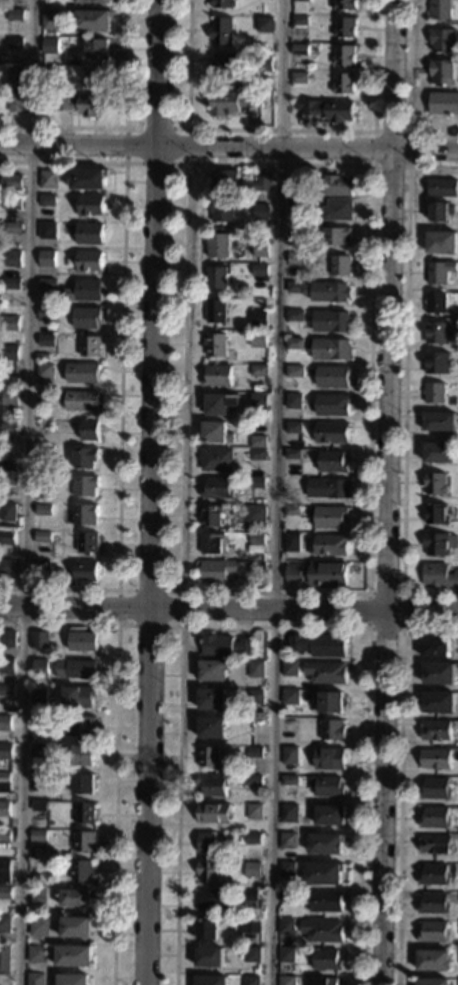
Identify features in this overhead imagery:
building: (300, 0)
building: (91, 2)
building: (223, 3)
building: (343, 4)
building: (441, 9)
building: (15, 15)
building: (50, 19)
building: (299, 20)
building: (92, 21)
building: (264, 24)
building: (344, 27)
building: (219, 31)
building: (443, 40)
building: (14, 43)
building: (49, 46)
building: (96, 50)
building: (299, 50)
building: (344, 55)
building: (263, 63)
building: (225, 65)
building: (50, 72)
building: (443, 72)
building: (14, 74)
building: (93, 78)
building: (299, 78)
building: (343, 83)
road: (409, 89)
building: (231, 102)
building: (14, 103)
building: (444, 103)
building: (82, 104)
building: (330, 110)
road: (124, 125)
road: (281, 128)
road: (229, 148)
road: (185, 163)
road: (408, 165)
building: (86, 179)
building: (48, 180)
building: (238, 182)
building: (292, 183)
building: (337, 185)
building: (13, 187)
building: (442, 187)
building: (46, 200)
building: (11, 203)
building: (90, 206)
building: (295, 207)
building: (222, 209)
building: (338, 209)
building: (441, 211)
building: (261, 212)
building: (10, 228)
building: (46, 231)
building: (297, 233)
building: (89, 234)
building: (337, 236)
building: (442, 242)
building: (218, 245)
building: (261, 249)
building: (12, 258)
building: (46, 259)
building: (295, 259)
building: (89, 261)
building: (341, 265)
building: (260, 270)
building: (441, 271)
building: (218, 277)
building: (11, 283)
building: (46, 284)
building: (322, 290)
building: (84, 291)
building: (437, 303)
building: (217, 312)
building: (46, 313)
building: (295, 315)
building: (87, 317)
building: (260, 317)
building: (331, 321)
building: (11, 323)
building: (439, 332)
building: (259, 337)
building: (46, 341)
building: (295, 343)
building: (215, 344)
building: (91, 346)
building: (330, 349)
building: (11, 353)
building: (42, 357)
building: (438, 362)
building: (259, 370)
building: (295, 370)
building: (44, 371)
building: (83, 373)
road: (121, 373)
building: (218, 376)
building: (333, 376)
road: (405, 381)
building: (11, 382)
building: (435, 392)
building: (44, 397)
building: (9, 398)
building: (82, 401)
building: (259, 401)
building: (294, 401)
building: (221, 403)
building: (332, 404)
building: (440, 422)
building: (9, 423)
building: (293, 427)
building: (90, 430)
building: (217, 433)
building: (333, 433)
building: (258, 442)
building: (292, 453)
building: (440, 453)
building: (258, 454)
building: (43, 455)
building: (86, 457)
building: (217, 459)
building: (333, 461)
building: (8, 467)
building: (9, 480)
building: (258, 482)
building: (435, 483)
building: (86, 486)
building: (217, 488)
building: (329, 488)
road: (25, 492)
road: (152, 492)
road: (275, 492)
road: (386, 492)
building: (43, 510)
building: (292, 510)
building: (8, 512)
building: (86, 514)
building: (256, 514)
building: (436, 514)
building: (212, 516)
building: (330, 517)
building: (43, 537)
building: (8, 538)
building: (55, 538)
building: (88, 543)
building: (257, 543)
building: (291, 543)
building: (439, 543)
building: (212, 544)
building: (329, 545)
building: (41, 564)
building: (7, 566)
building: (258, 566)
building: (86, 571)
building: (223, 571)
building: (319, 574)
building: (438, 575)
road: (180, 591)
road: (368, 593)
road: (228, 608)
road: (271, 626)
road: (402, 628)
building: (7, 639)
building: (39, 640)
building: (82, 641)
building: (318, 644)
building: (225, 646)
building: (435, 648)
building: (7, 666)
building: (40, 667)
building: (77, 669)
building: (255, 669)
building: (290, 669)
building: (212, 671)
building: (325, 672)
building: (438, 674)
building: (7, 690)
building: (38, 696)
building: (290, 696)
building: (79, 697)
building: (254, 697)
building: (212, 699)
building: (329, 702)
building: (439, 702)
building: (59, 716)
building: (251, 717)
building: (5, 723)
building: (82, 727)
building: (211, 728)
building: (332, 730)
building: (436, 730)
building: (70, 746)
road: (115, 746)
building: (6, 751)
building: (38, 752)
building: (254, 753)
building: (84, 755)
building: (289, 755)
building: (209, 757)
building: (329, 758)
building: (436, 759)
road: (399, 779)
building: (289, 780)
building: (253, 781)
building: (4, 782)
building: (40, 782)
building: (84, 784)
building: (213, 785)
building: (327, 786)
building: (435, 788)
building: (40, 806)
building: (4, 808)
building: (253, 811)
building: (85, 813)
building: (214, 813)
building: (288, 813)
building: (328, 815)
building: (435, 818)
building: (5, 835)
building: (37, 836)
building: (252, 838)
building: (84, 841)
building: (288, 841)
building: (206, 843)
building: (324, 844)
building: (435, 844)
building: (252, 869)
building: (287, 869)
building: (81, 870)
building: (209, 871)
building: (4, 873)
building: (322, 873)
building: (434, 875)
building: (38, 877)
building: (5, 893)
building: (37, 896)
building: (249, 896)
building: (287, 896)
building: (75, 898)
building: (213, 899)
building: (325, 901)
building: (434, 903)
building: (4, 924)
building: (248, 926)
building: (38, 927)
building: (76, 927)
building: (286, 927)
building: (207, 930)
building: (321, 931)
building: (432, 931)
building: (36, 954)
building: (252, 954)
building: (286, 955)
building: (74, 956)
building: (209, 957)
building: (5, 959)
building: (326, 959)
building: (433, 960)
building: (35, 979)
building: (73, 979)
building: (210, 980)
building: (251, 980)
building: (286, 981)
building: (324, 981)
building: (432, 982)

